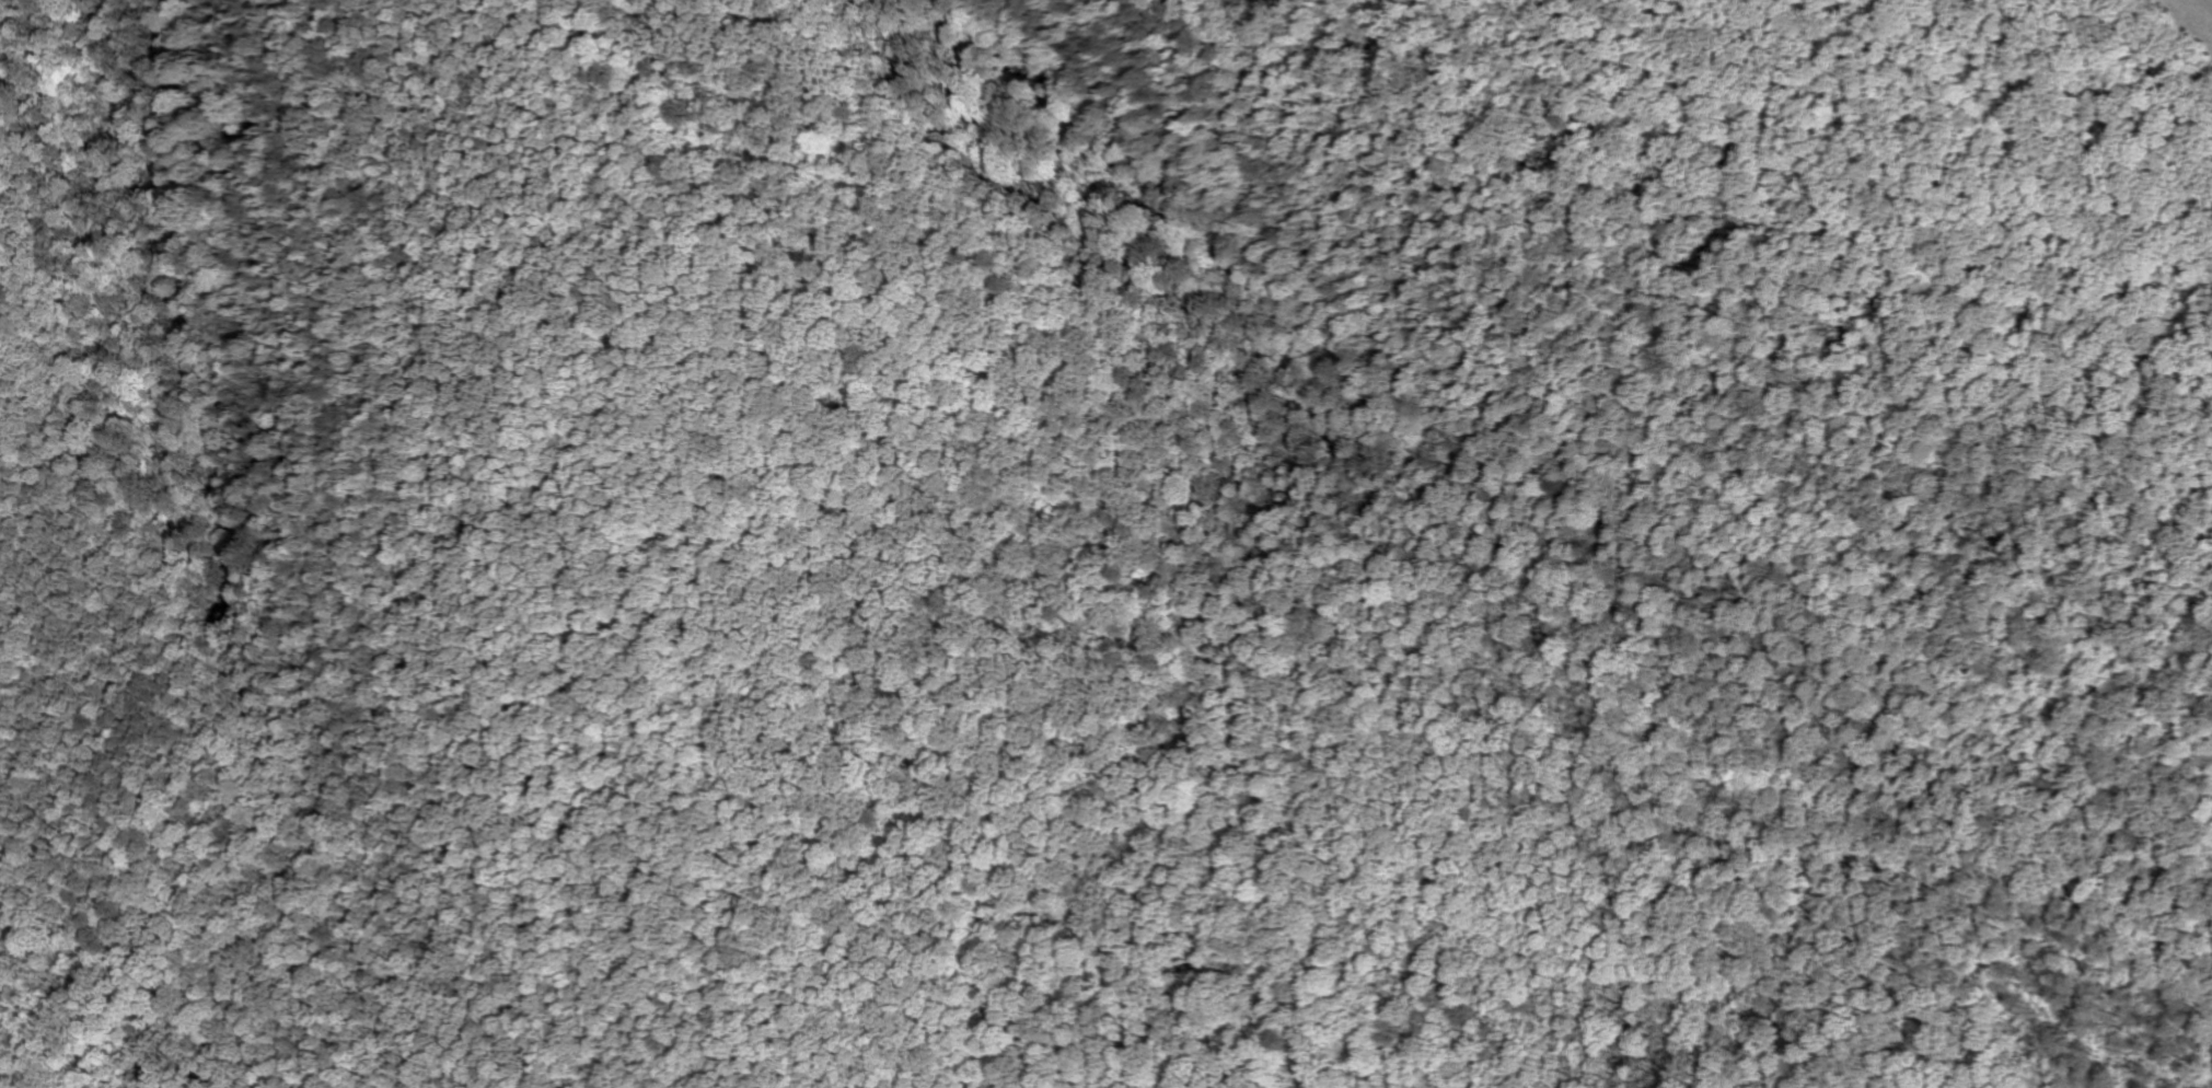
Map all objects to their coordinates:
park: (1134, 139)
park: (224, 287)

